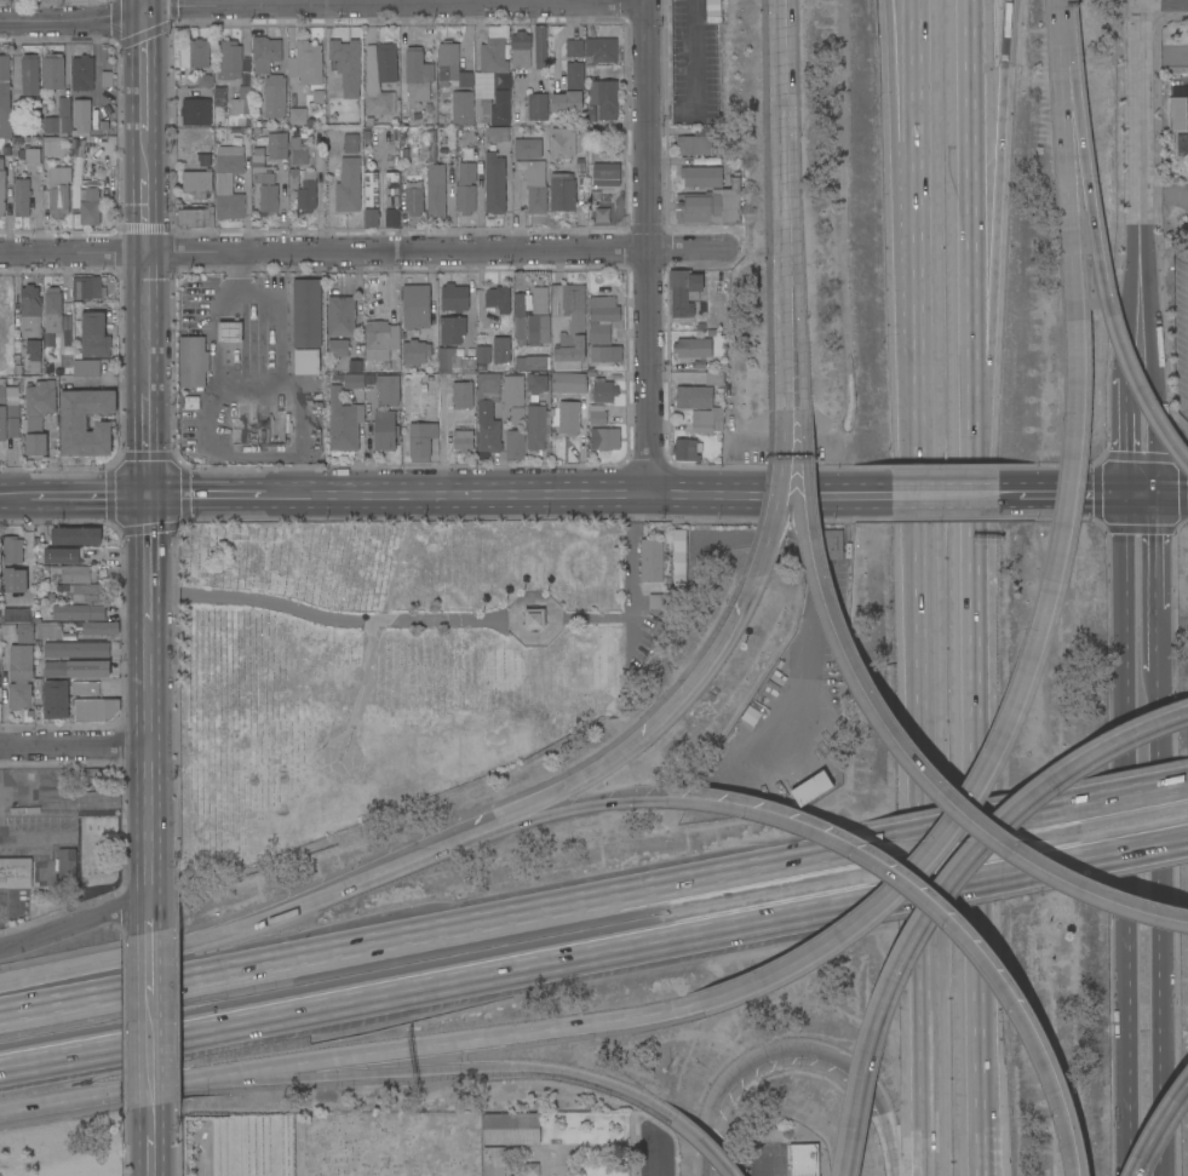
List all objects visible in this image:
road: (1164, 0)
road: (144, 4)
road: (395, 5)
road: (73, 22)
road: (969, 39)
building: (539, 46)
building: (574, 47)
building: (521, 48)
building: (601, 50)
building: (199, 52)
building: (265, 52)
road: (1164, 53)
building: (229, 61)
building: (345, 61)
building: (306, 62)
building: (497, 62)
building: (450, 65)
building: (53, 70)
road: (144, 70)
building: (82, 73)
building: (30, 74)
building: (418, 74)
road: (695, 74)
building: (107, 79)
building: (202, 80)
building: (379, 80)
building: (570, 90)
building: (220, 96)
building: (275, 96)
building: (316, 96)
building: (5, 97)
building: (604, 97)
building: (241, 101)
building: (538, 105)
building: (461, 107)
building: (493, 109)
building: (196, 111)
building: (82, 114)
building: (518, 114)
building: (297, 115)
building: (1176, 115)
building: (59, 119)
road: (1140, 122)
building: (497, 133)
building: (561, 142)
building: (695, 142)
building: (351, 143)
building: (276, 144)
building: (431, 145)
building: (532, 145)
building: (52, 147)
building: (298, 151)
building: (30, 155)
road: (144, 156)
building: (200, 159)
building: (704, 161)
building: (260, 167)
road: (1071, 171)
building: (606, 173)
building: (701, 176)
road: (788, 178)
building: (229, 180)
building: (197, 182)
building: (494, 183)
building: (349, 185)
building: (534, 187)
building: (2, 188)
building: (466, 188)
building: (304, 189)
building: (371, 189)
building: (391, 189)
building: (436, 189)
building: (58, 190)
road: (1164, 190)
building: (413, 191)
building: (562, 191)
road: (903, 193)
road: (317, 195)
building: (22, 196)
building: (269, 199)
building: (710, 205)
building: (90, 207)
road: (145, 217)
building: (195, 217)
building: (371, 217)
building: (392, 217)
road: (989, 234)
road: (1098, 240)
road: (648, 247)
road: (367, 253)
road: (971, 274)
road: (145, 286)
building: (88, 287)
road: (1140, 291)
building: (682, 292)
building: (454, 297)
building: (498, 298)
road: (470, 299)
building: (539, 300)
building: (415, 305)
building: (4, 306)
building: (52, 309)
building: (30, 310)
building: (306, 312)
building: (342, 316)
building: (602, 317)
building: (518, 319)
building: (576, 326)
building: (538, 328)
building: (450, 329)
building: (230, 332)
building: (94, 335)
building: (377, 339)
building: (694, 346)
road: (145, 348)
building: (338, 348)
building: (501, 349)
building: (415, 352)
building: (33, 354)
building: (483, 354)
building: (607, 354)
road: (1144, 357)
road: (1130, 358)
building: (454, 360)
building: (193, 361)
building: (306, 361)
building: (536, 362)
building: (518, 363)
building: (354, 366)
building: (86, 367)
road: (916, 367)
building: (591, 373)
building: (713, 378)
building: (350, 379)
building: (536, 383)
building: (488, 386)
building: (389, 388)
building: (513, 390)
building: (603, 390)
building: (463, 394)
road: (1123, 397)
building: (573, 402)
road: (787, 409)
road: (803, 409)
building: (38, 414)
building: (516, 415)
building: (8, 417)
building: (344, 420)
building: (86, 421)
building: (706, 421)
building: (535, 426)
building: (385, 429)
building: (488, 435)
road: (147, 437)
building: (604, 438)
road: (1152, 438)
building: (421, 440)
building: (464, 440)
building: (515, 444)
building: (685, 449)
road: (1123, 454)
building: (482, 455)
road: (579, 494)
road: (958, 495)
road: (1072, 495)
road: (88, 497)
traffic signals: (148, 497)
road: (206, 497)
traffic signals: (1124, 497)
road: (1138, 497)
traffic signals: (1153, 497)
road: (1170, 497)
road: (15, 498)
road: (775, 528)
building: (76, 535)
building: (832, 544)
building: (12, 549)
road: (1153, 553)
building: (63, 555)
road: (148, 556)
building: (681, 556)
building: (652, 560)
building: (13, 579)
building: (78, 581)
road: (631, 593)
building: (660, 600)
road: (976, 602)
building: (76, 612)
building: (17, 614)
road: (329, 616)
road: (513, 616)
building: (533, 618)
building: (101, 627)
building: (7, 630)
building: (46, 630)
building: (24, 632)
building: (69, 636)
road: (1155, 639)
building: (76, 649)
park: (381, 666)
building: (78, 669)
building: (19, 676)
building: (85, 688)
building: (36, 692)
building: (56, 699)
building: (94, 710)
building: (27, 713)
building: (16, 715)
building: (751, 715)
road: (1002, 740)
road: (1158, 747)
road: (74, 748)
road: (149, 756)
road: (917, 761)
road: (606, 764)
road: (94, 770)
building: (810, 788)
road: (78, 793)
road: (1136, 794)
road: (1046, 811)
road: (526, 820)
road: (951, 830)
road: (1123, 836)
building: (93, 848)
road: (1136, 848)
road: (1048, 865)
building: (67, 866)
building: (16, 872)
road: (962, 873)
road: (909, 884)
road: (939, 885)
road: (150, 912)
road: (447, 924)
road: (75, 925)
road: (202, 941)
road: (986, 954)
road: (918, 956)
road: (150, 960)
road: (434, 980)
road: (1158, 999)
road: (151, 1017)
road: (395, 1052)
road: (792, 1052)
road: (351, 1078)
road: (151, 1088)
road: (42, 1105)
road: (681, 1123)
building: (511, 1128)
road: (1160, 1130)
road: (1071, 1138)
park: (331, 1143)
road: (850, 1152)
road: (150, 1154)
road: (658, 1154)
building: (803, 1159)
building: (494, 1160)
building: (532, 1169)

